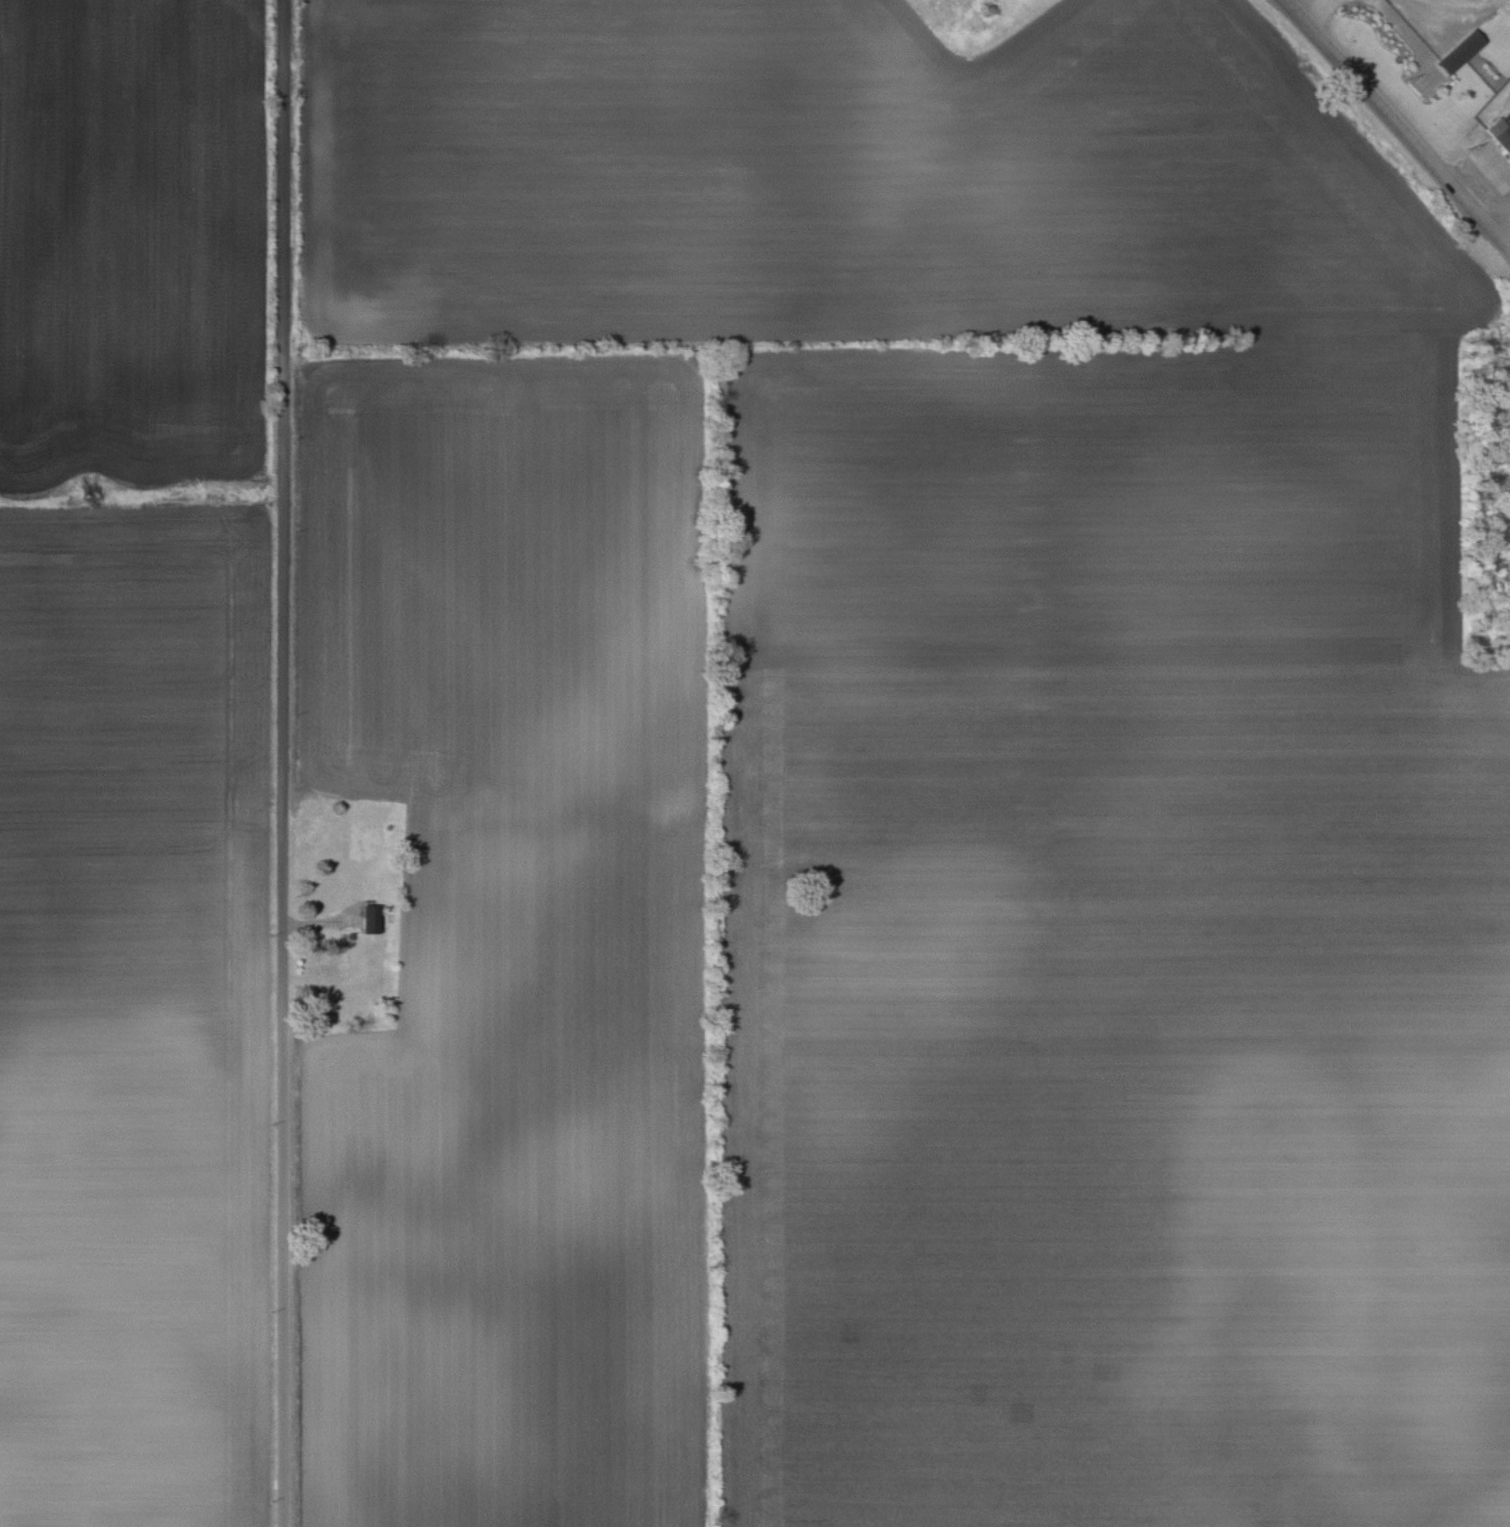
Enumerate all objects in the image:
road: (1298, 5)
road: (1422, 11)
building: (1459, 52)
road: (1396, 124)
building: (1499, 134)
road: (1501, 221)
road: (284, 763)
building: (368, 918)

